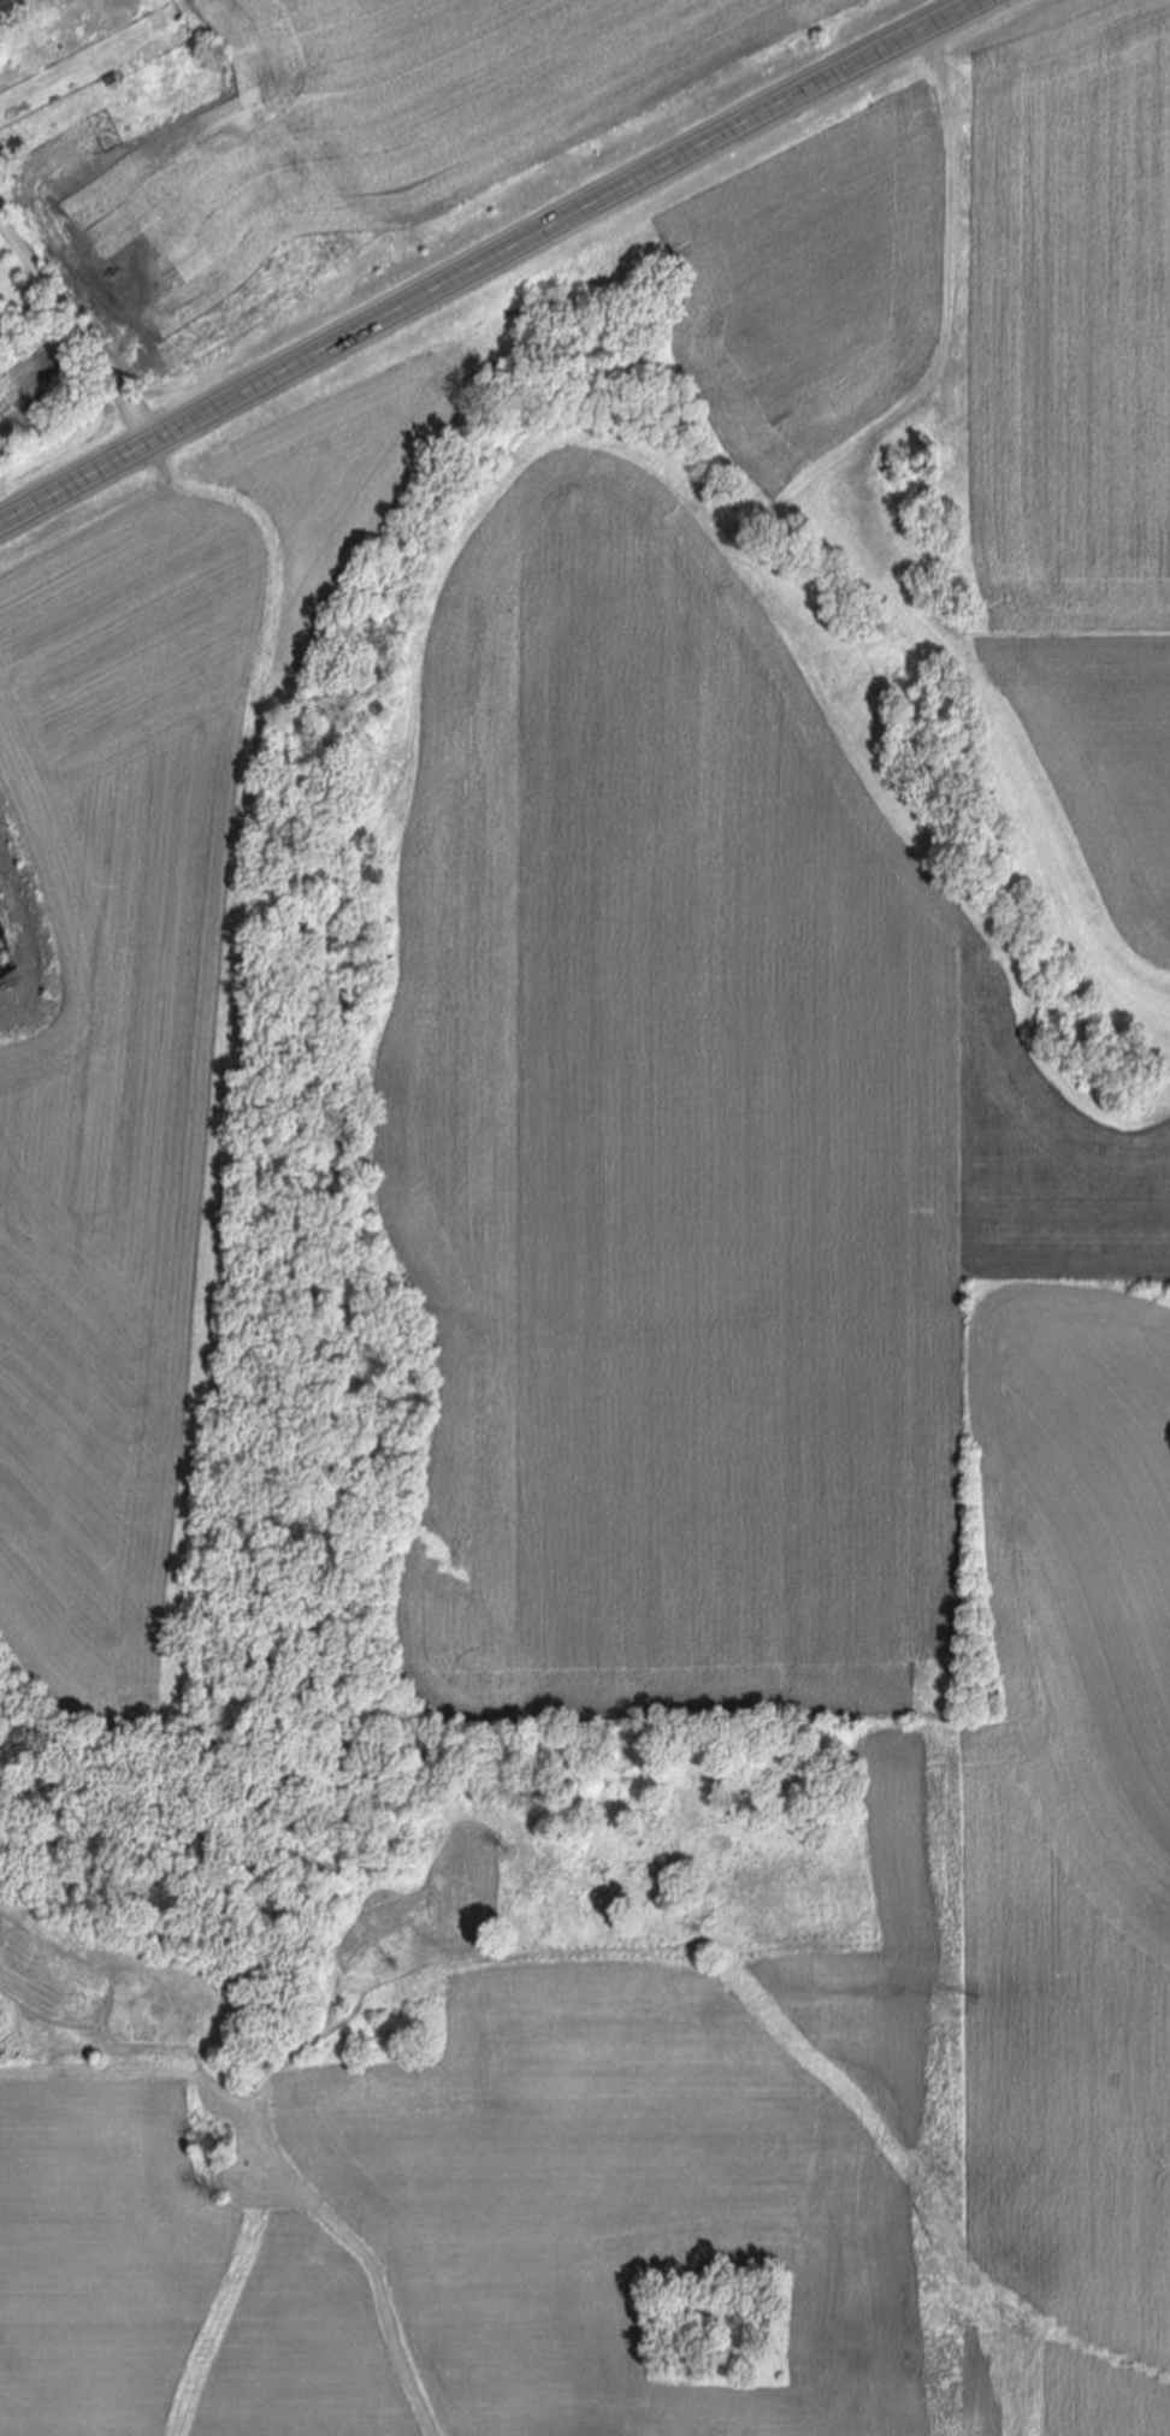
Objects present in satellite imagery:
road: (495, 261)
road: (79, 330)

